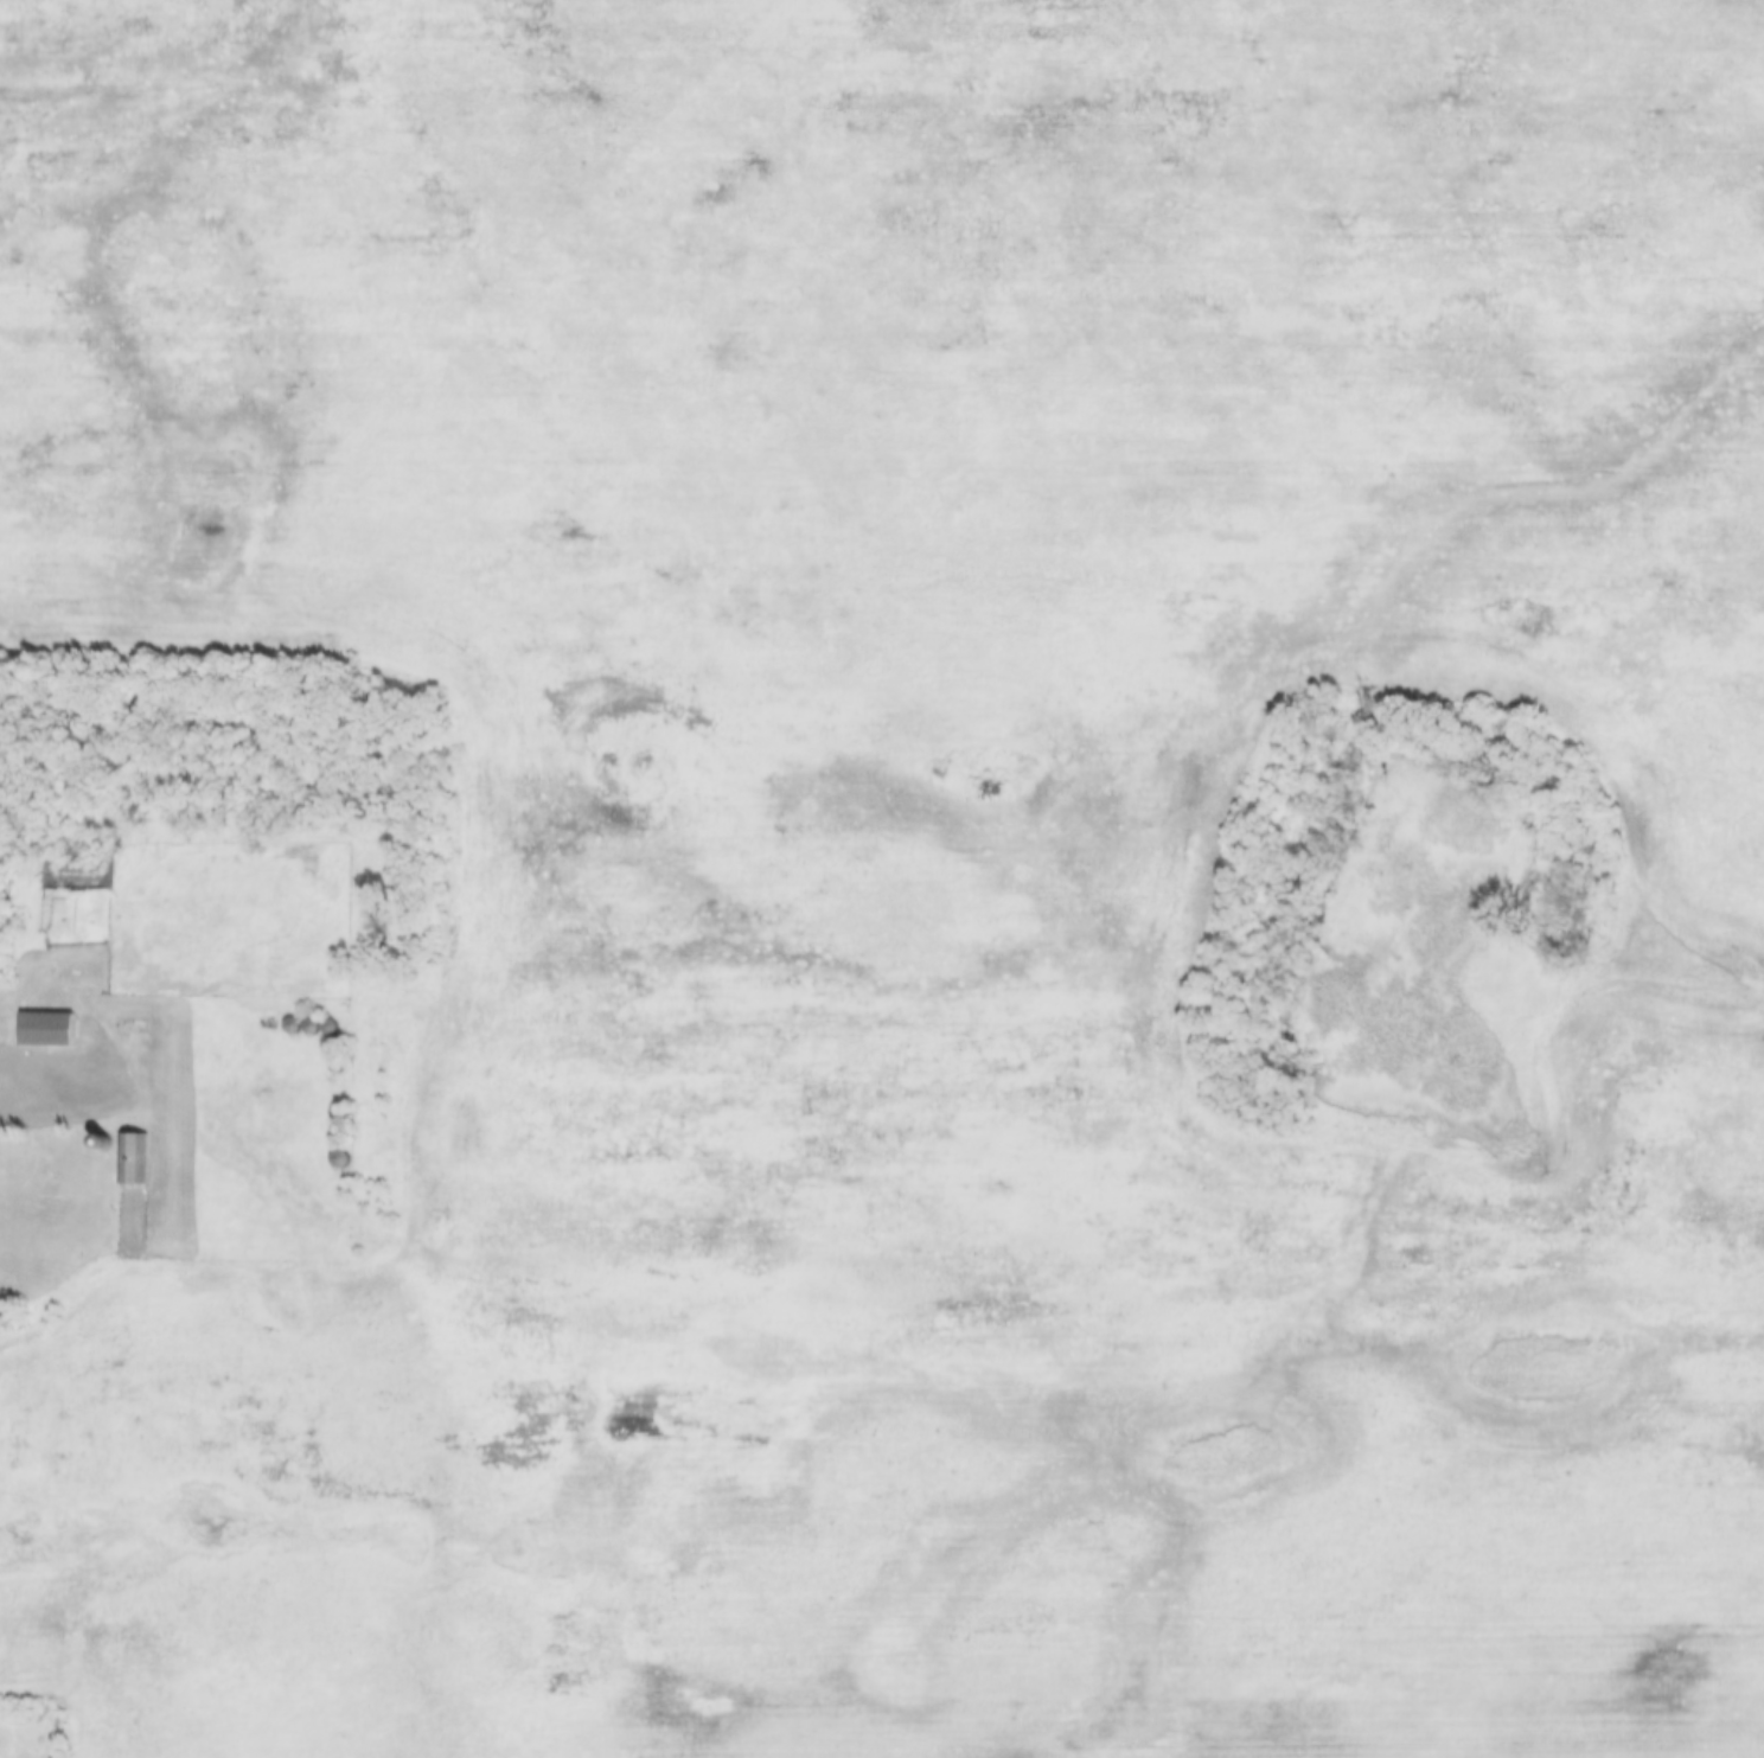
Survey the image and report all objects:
building: (75, 876)
building: (294, 1029)
building: (49, 1033)
building: (341, 1162)
building: (133, 1163)

